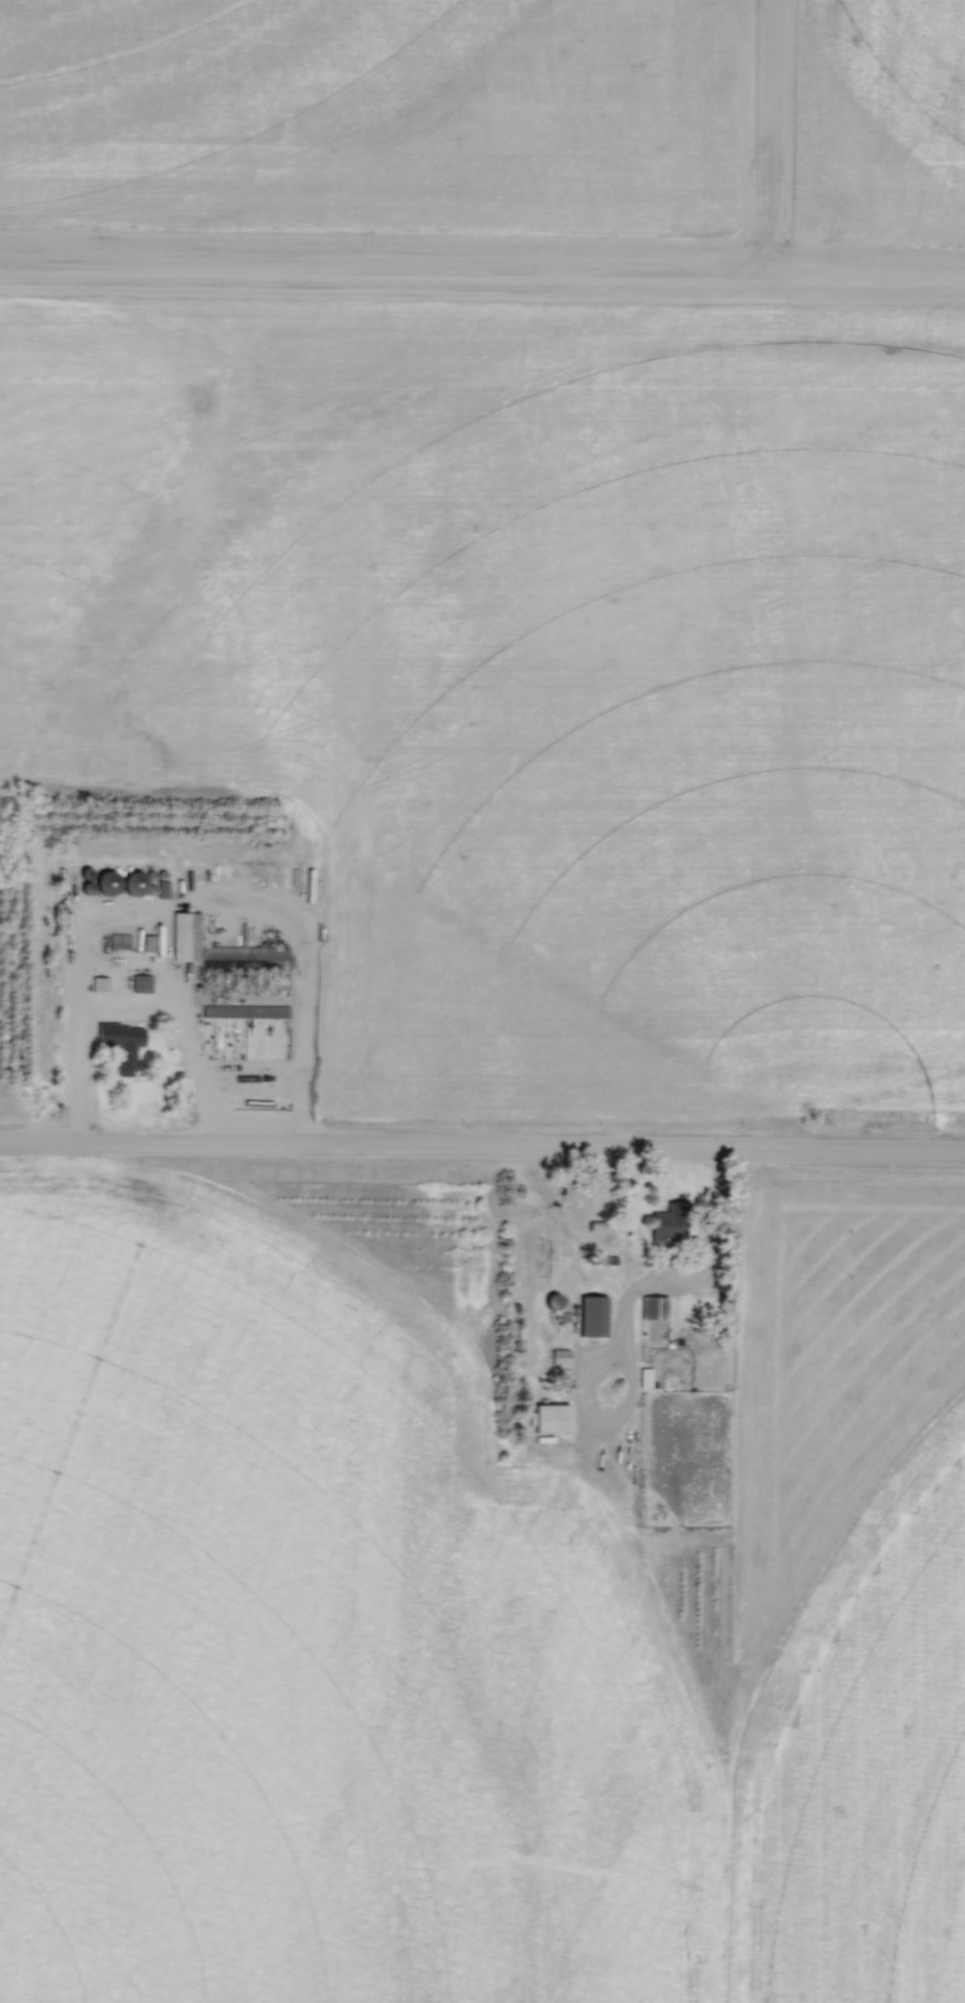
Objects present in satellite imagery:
crop: (375, 113)
crop: (877, 121)
airport runway: (787, 209)
airport runway: (493, 239)
airport runway: (482, 303)
crop: (531, 667)
building: (107, 885)
silo: (107, 885)
building: (134, 885)
silo: (134, 885)
road: (252, 904)
building: (186, 938)
building: (119, 943)
building: (246, 954)
building: (100, 984)
building: (143, 984)
road: (140, 1001)
building: (245, 1011)
building: (120, 1045)
road: (482, 1148)
building: (671, 1223)
road: (703, 1274)
building: (550, 1303)
building: (655, 1309)
building: (593, 1317)
building: (561, 1360)
building: (551, 1419)
crop: (465, 1630)

